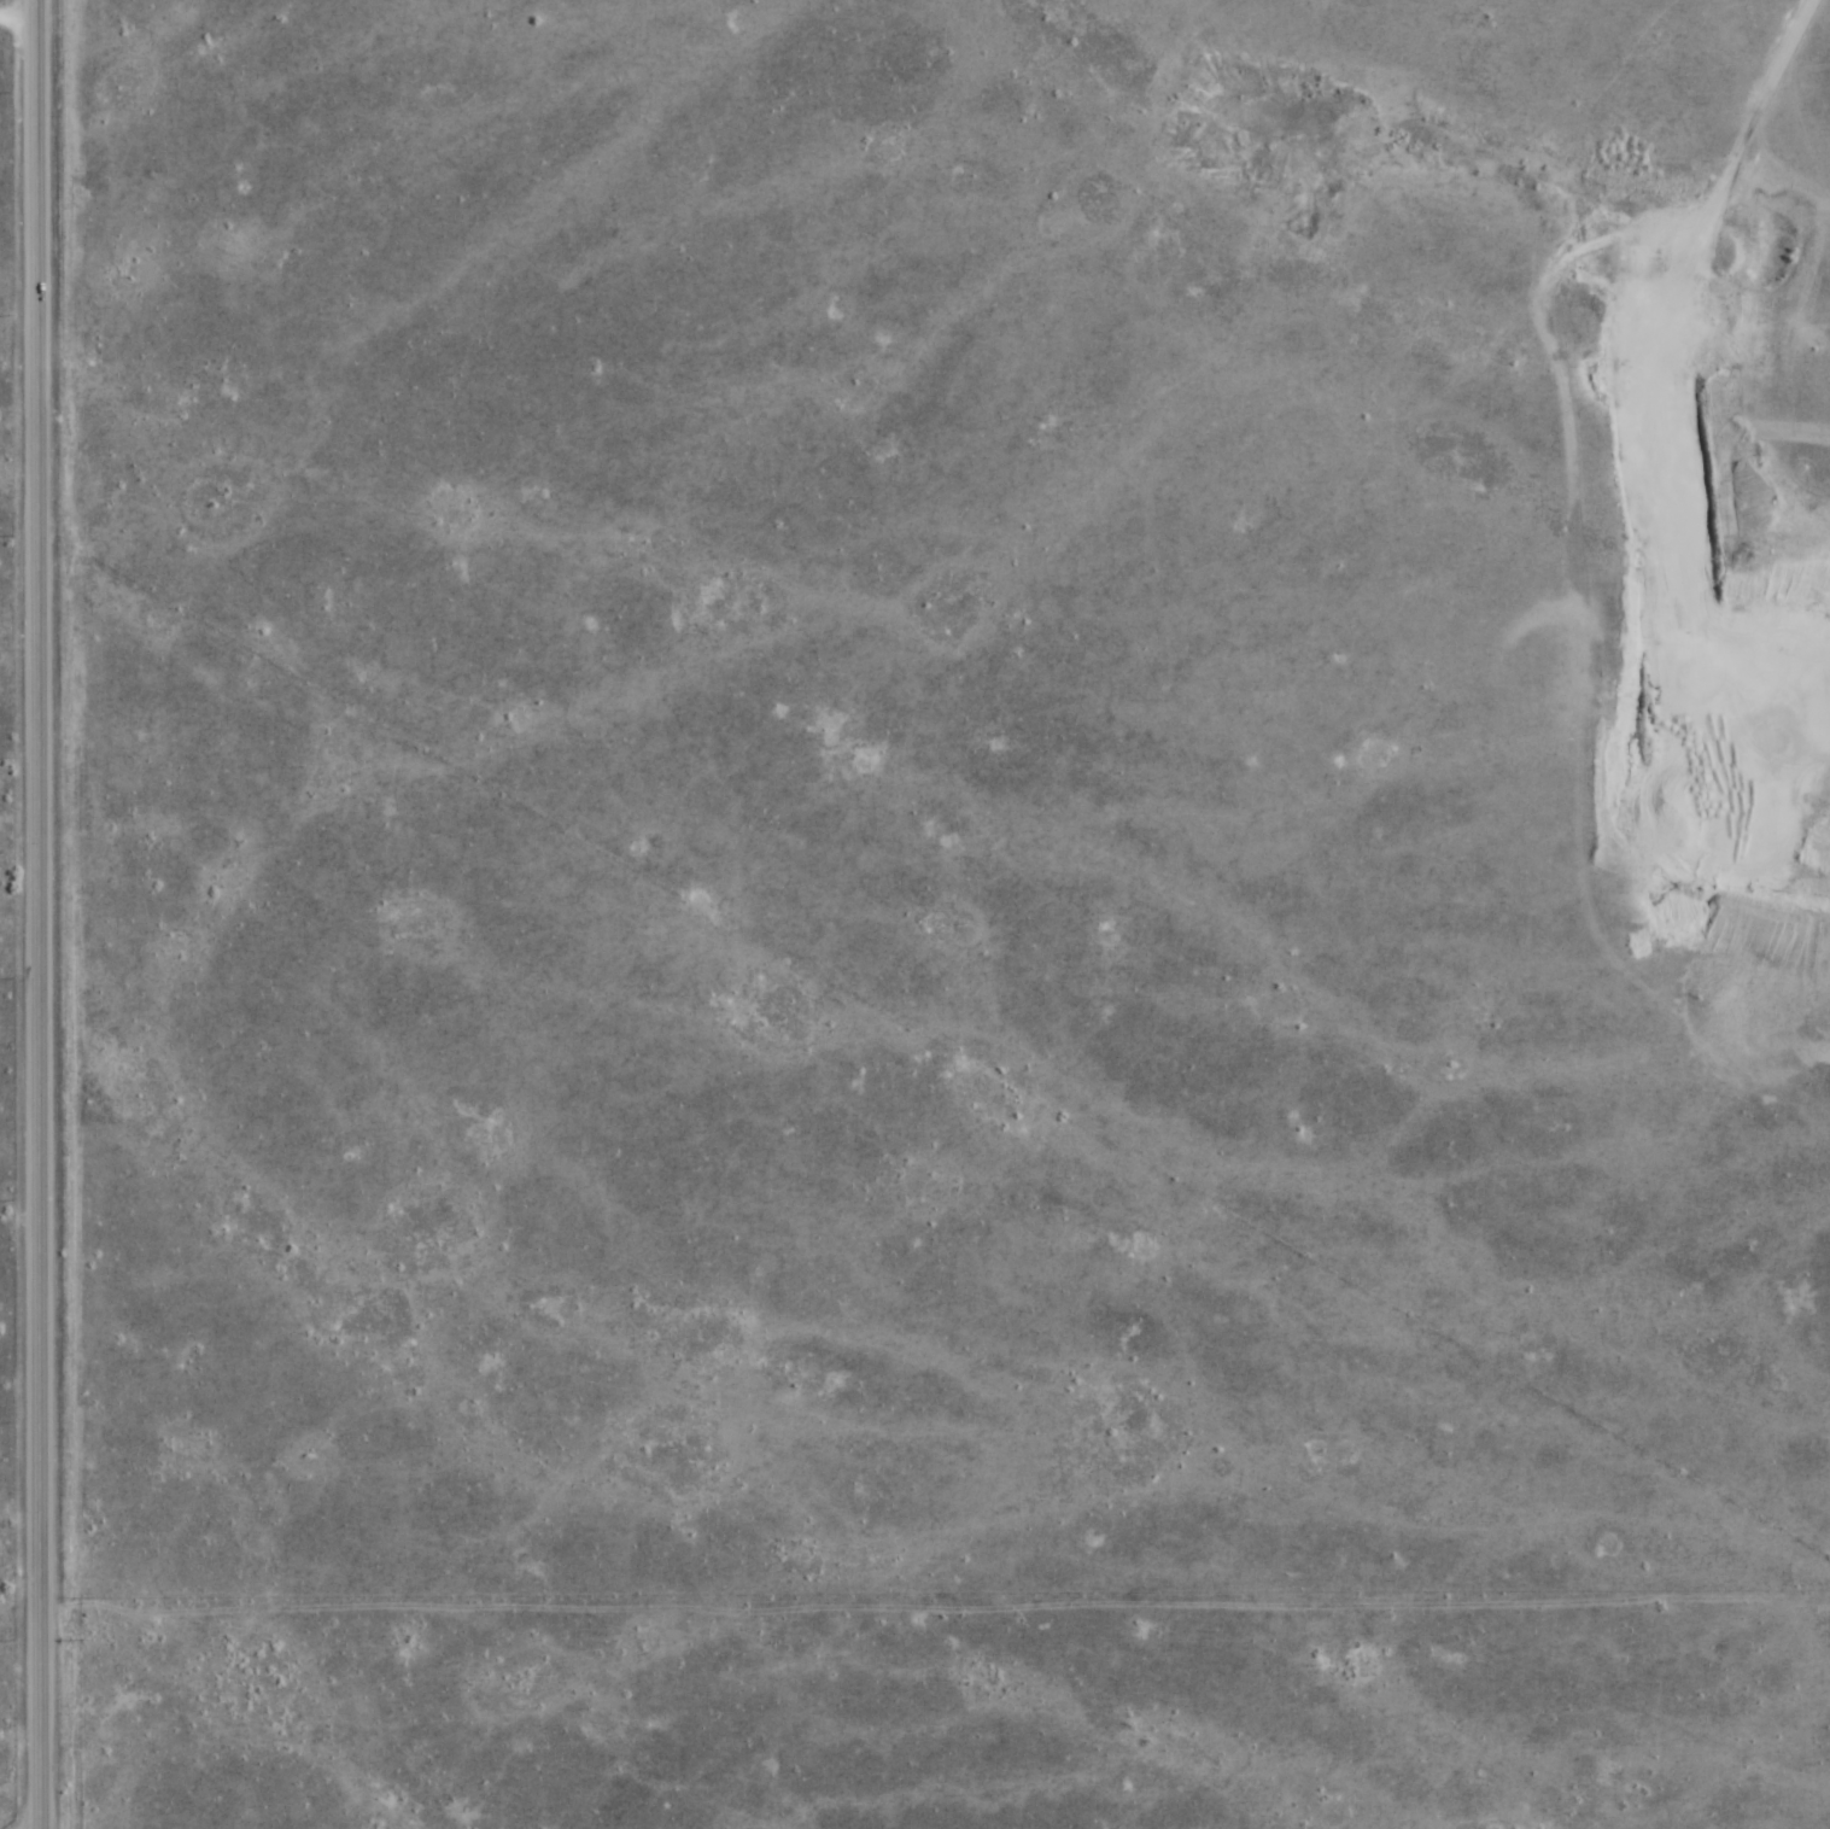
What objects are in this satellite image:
road: (22, 27)
road: (43, 913)

